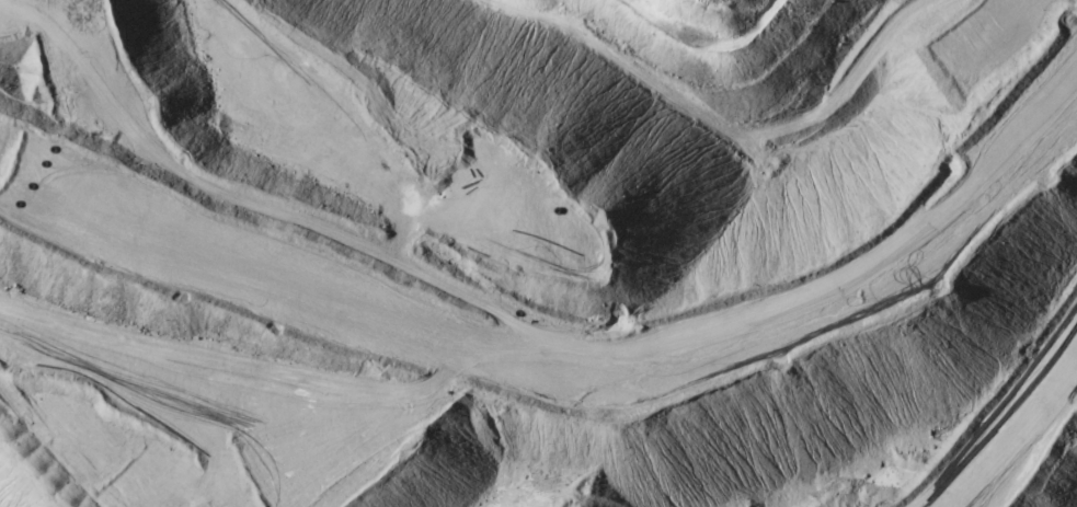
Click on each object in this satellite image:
quarry: (538, 253)

